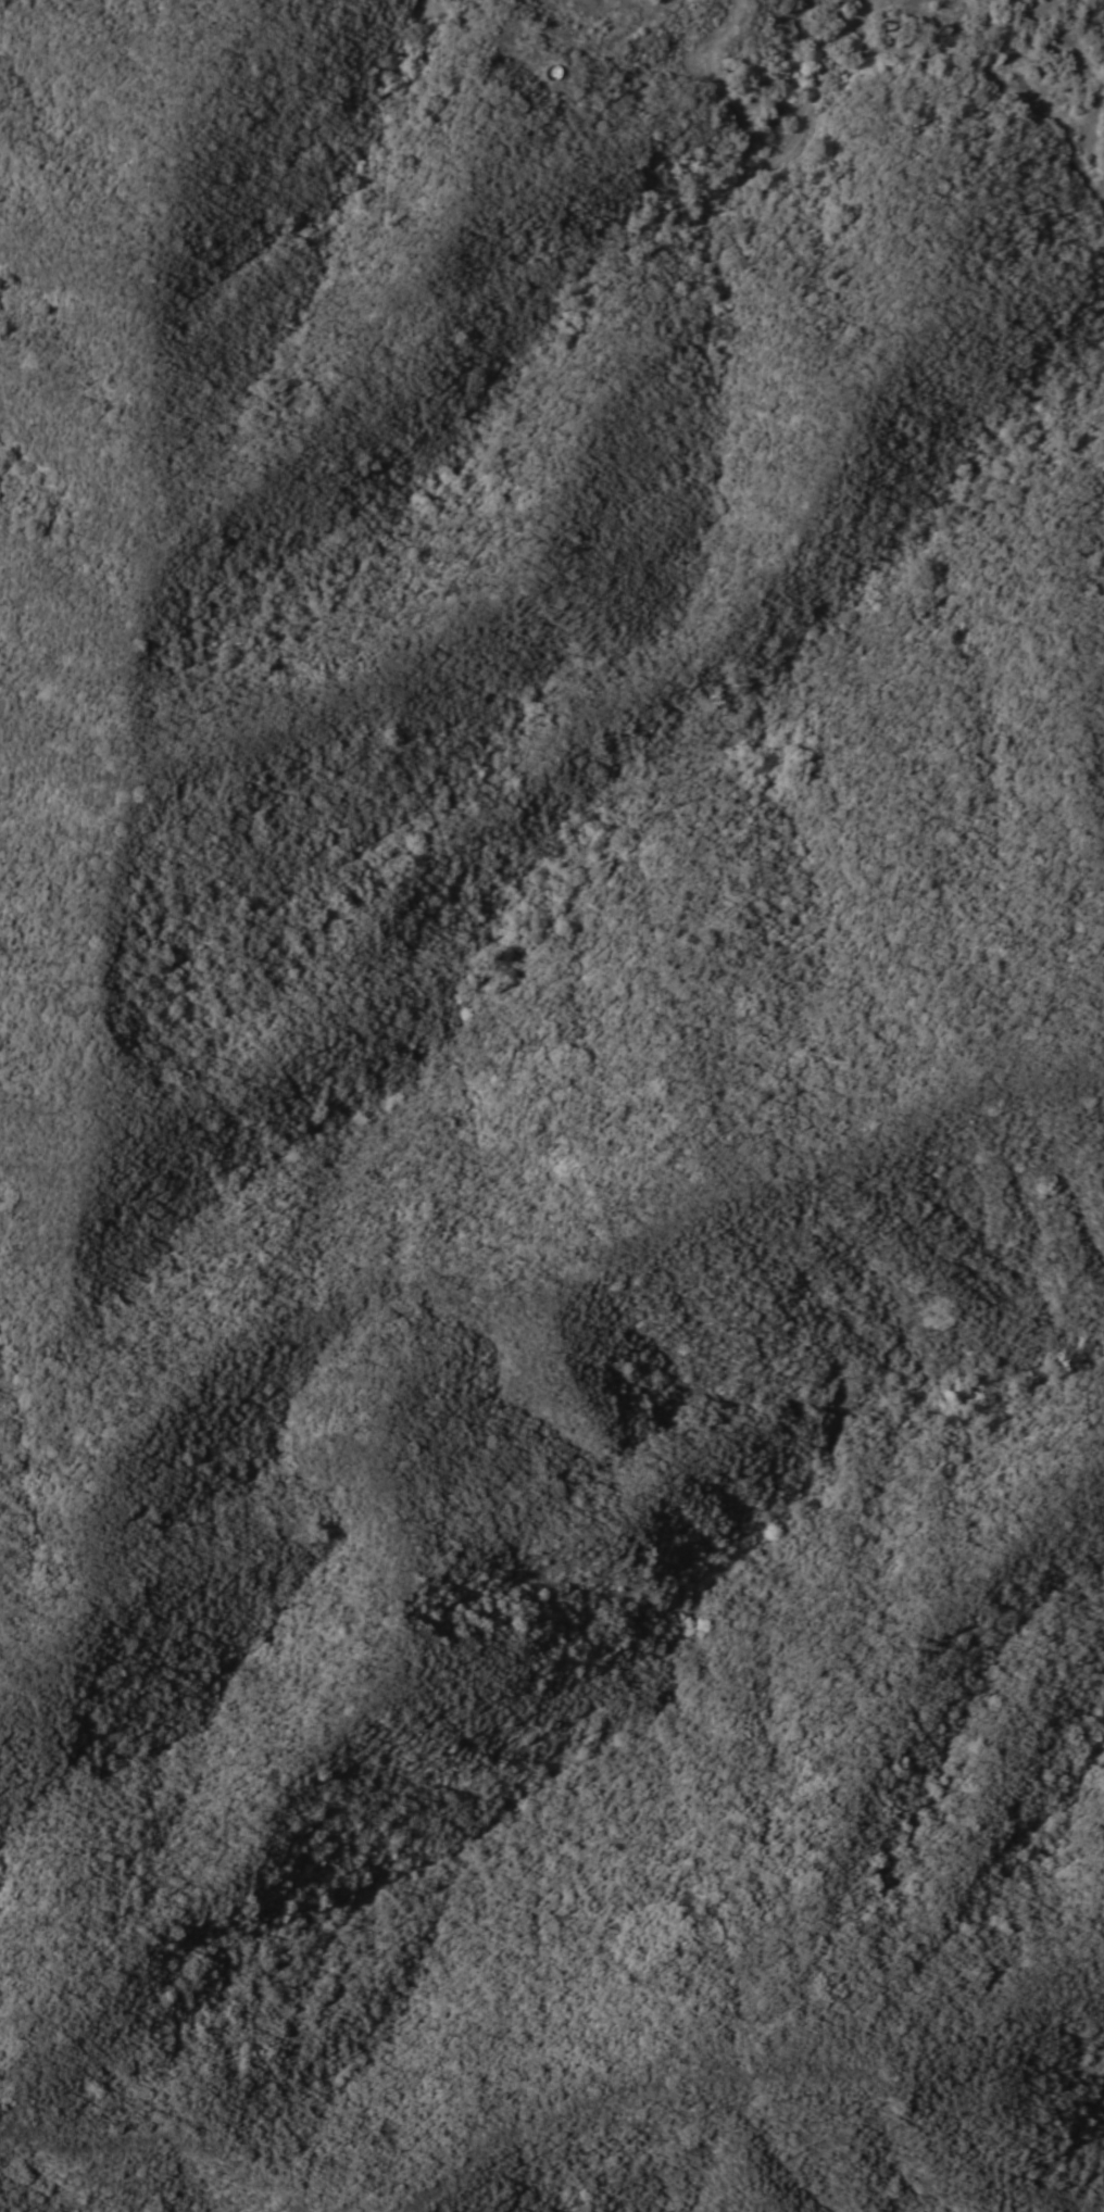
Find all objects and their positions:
building: (551, 71)
road: (983, 76)
road: (771, 167)

